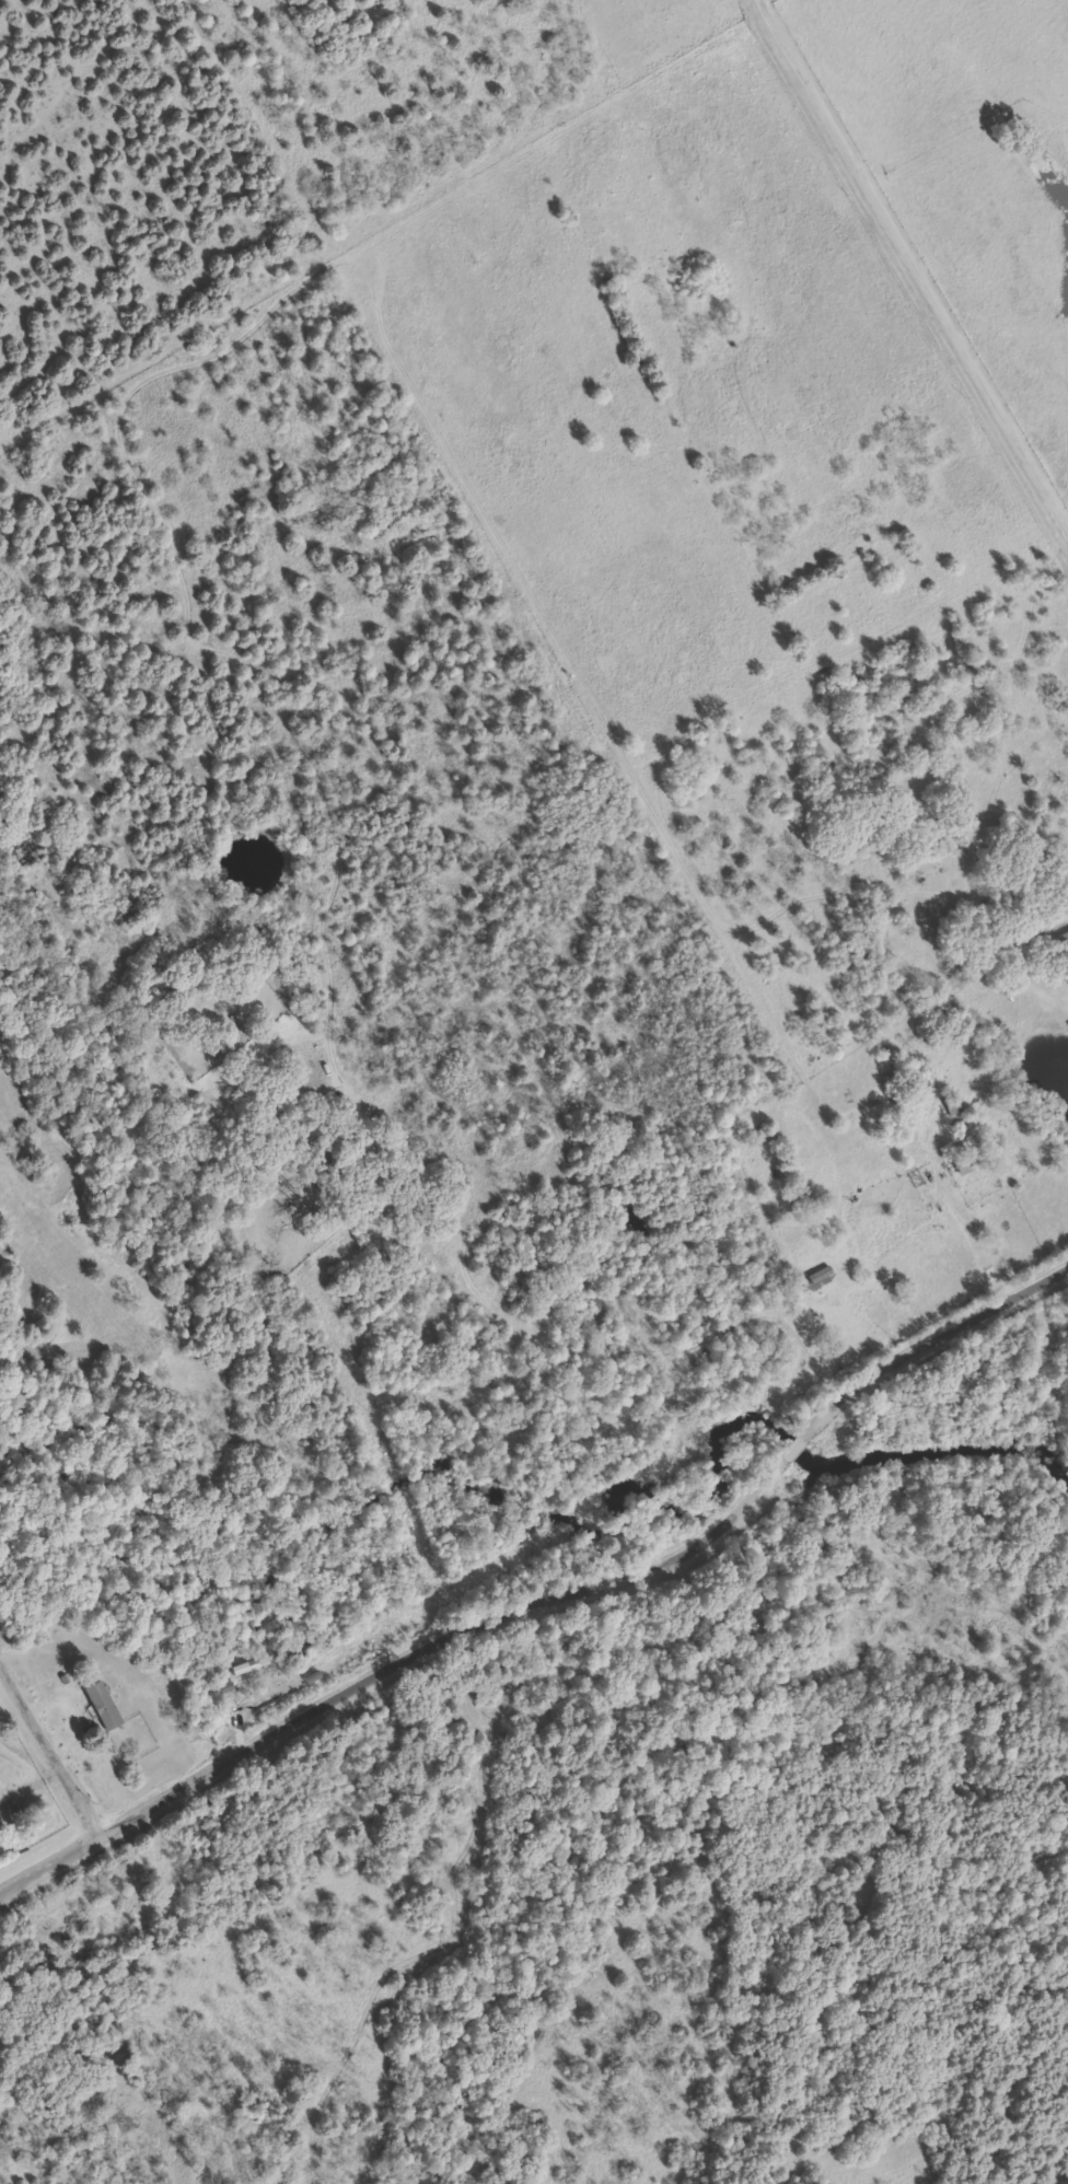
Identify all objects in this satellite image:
road: (910, 266)
building: (301, 1015)
building: (908, 1084)
building: (954, 1105)
building: (971, 1162)
road: (977, 1243)
building: (821, 1276)
road: (553, 1601)
building: (106, 1707)

